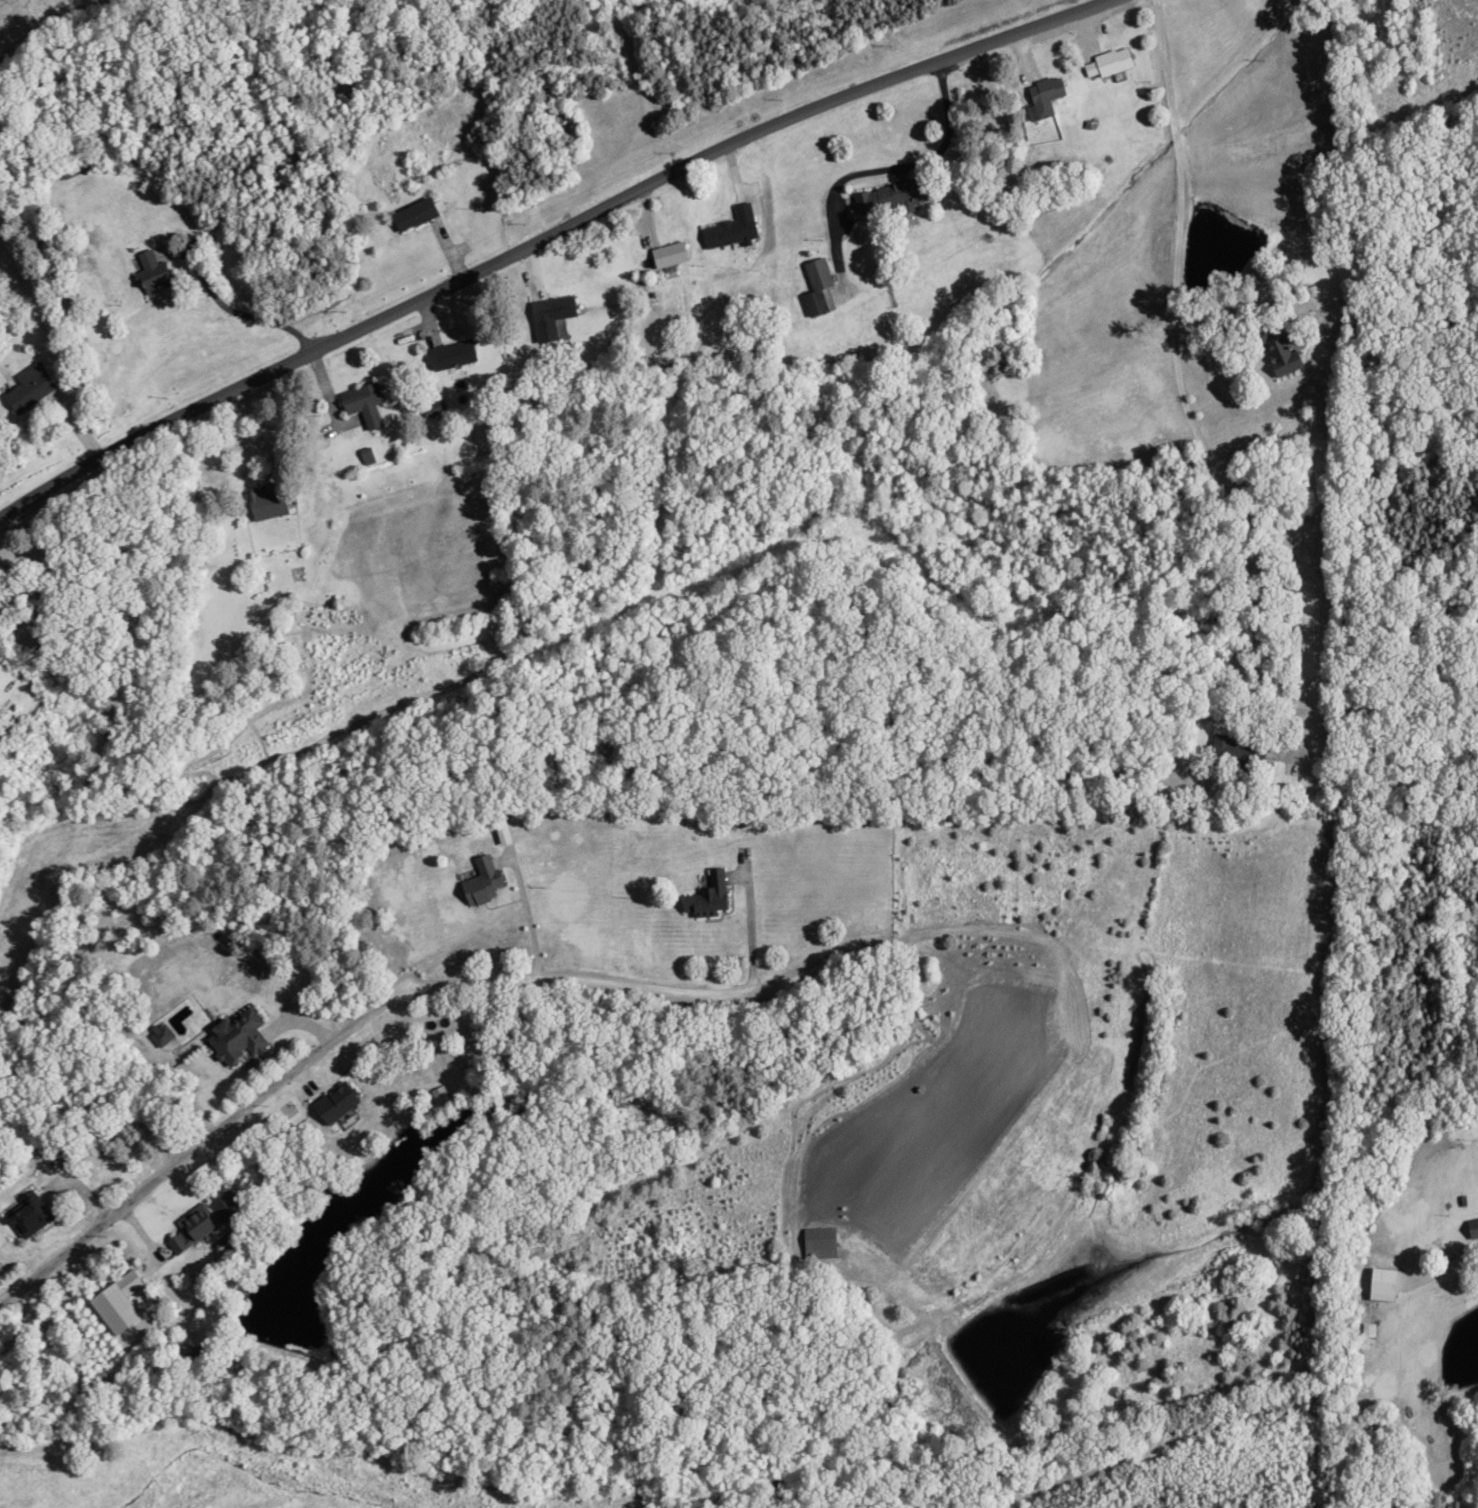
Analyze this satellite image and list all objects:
building: (1105, 62)
building: (1042, 95)
building: (878, 199)
building: (411, 215)
building: (729, 228)
road: (560, 242)
building: (666, 254)
building: (149, 273)
building: (814, 286)
building: (547, 317)
building: (1276, 353)
building: (449, 355)
building: (24, 388)
building: (361, 404)
building: (431, 408)
road: (880, 424)
building: (263, 502)
road: (1137, 703)
building: (479, 882)
building: (705, 896)
building: (234, 1037)
building: (331, 1102)
building: (24, 1214)
building: (191, 1227)
building: (816, 1242)
building: (1365, 1329)

